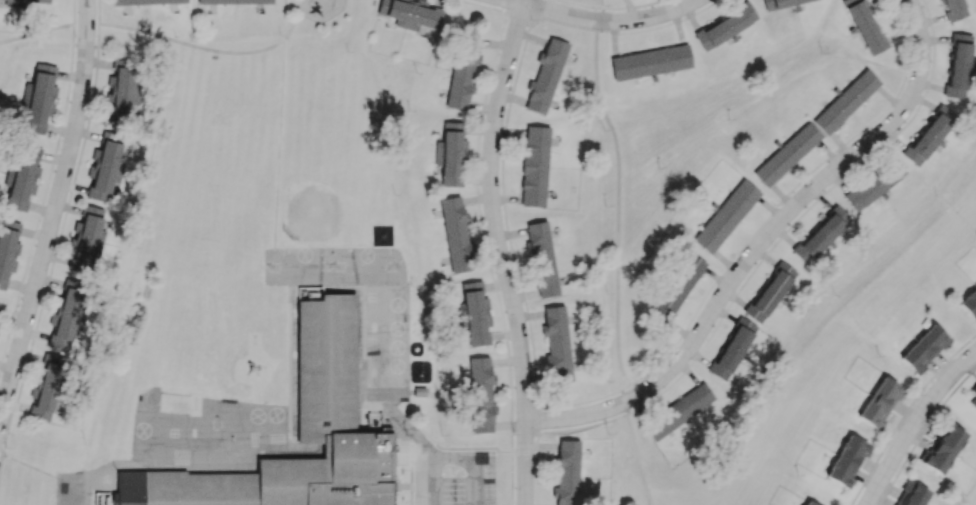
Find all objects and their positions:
building: (145, 1)
building: (233, 1)
building: (29, 2)
building: (779, 3)
road: (484, 5)
building: (954, 9)
road: (73, 12)
building: (411, 14)
road: (522, 15)
road: (282, 18)
road: (294, 19)
road: (604, 22)
road: (86, 23)
building: (864, 25)
building: (725, 26)
road: (36, 32)
road: (191, 44)
building: (650, 62)
building: (958, 66)
building: (462, 70)
building: (545, 76)
building: (122, 86)
building: (40, 97)
building: (845, 101)
building: (929, 135)
park: (215, 139)
road: (278, 142)
building: (451, 153)
building: (786, 154)
building: (534, 165)
building: (106, 168)
road: (618, 174)
building: (23, 176)
building: (874, 184)
park: (331, 191)
road: (43, 198)
road: (55, 214)
building: (726, 216)
road: (481, 231)
building: (87, 235)
building: (456, 235)
building: (821, 235)
road: (762, 245)
building: (7, 249)
road: (499, 251)
road: (513, 255)
building: (541, 259)
building: (676, 287)
building: (770, 292)
building: (969, 304)
park: (194, 306)
building: (69, 312)
building: (475, 313)
building: (460, 314)
building: (405, 317)
building: (556, 343)
building: (732, 348)
building: (924, 348)
building: (48, 386)
building: (973, 391)
building: (418, 392)
building: (480, 394)
building: (879, 402)
building: (678, 411)
road: (535, 419)
road: (913, 423)
road: (404, 424)
road: (574, 428)
building: (295, 434)
road: (437, 447)
building: (942, 449)
road: (523, 451)
road: (427, 452)
road: (2, 455)
road: (402, 458)
road: (424, 459)
road: (476, 460)
road: (637, 460)
building: (847, 460)
road: (30, 466)
building: (566, 472)
road: (511, 478)
road: (536, 478)
road: (432, 482)
parking lot: (456, 483)
building: (910, 494)
building: (807, 503)

